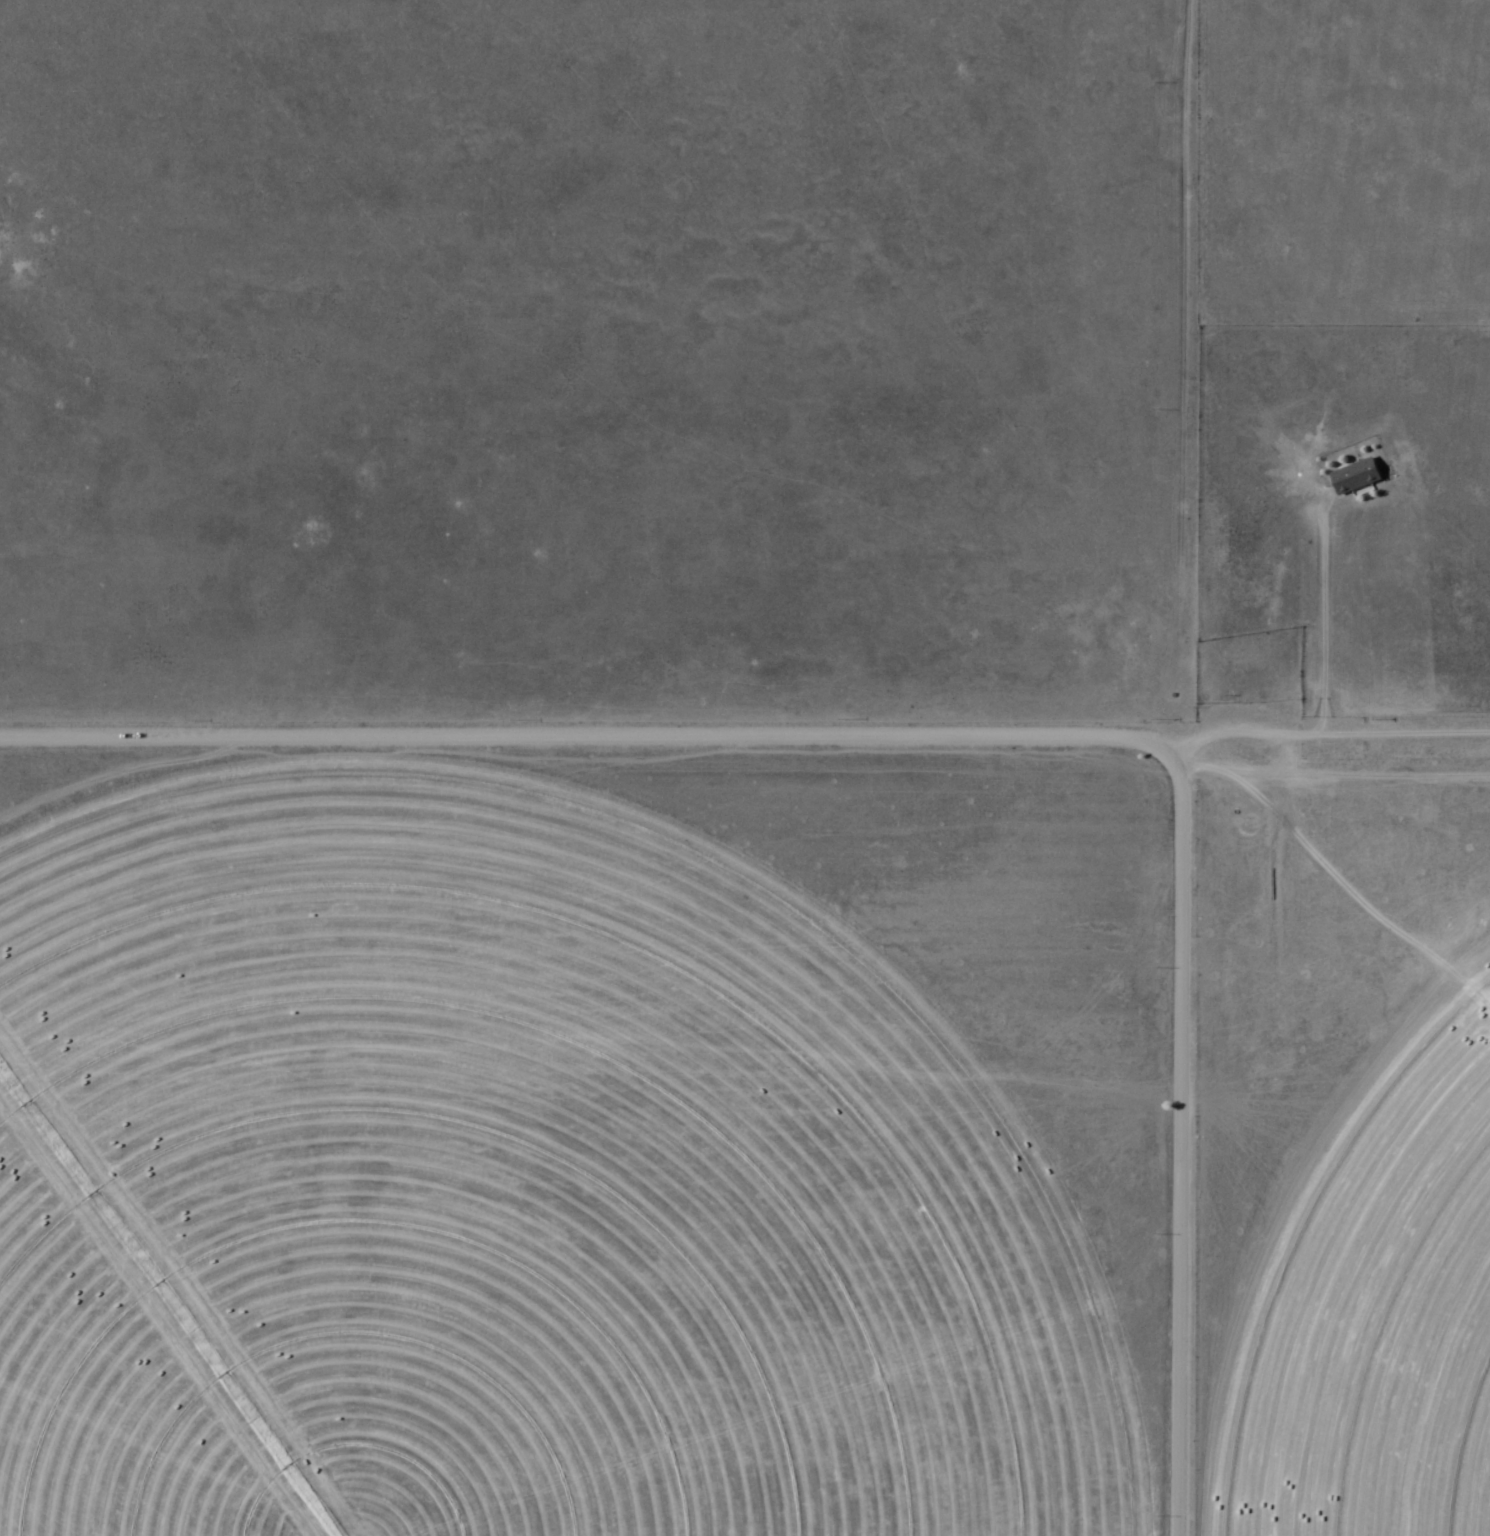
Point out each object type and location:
building: (1356, 478)
road: (1328, 710)
road: (583, 721)
road: (1168, 768)
crop: (518, 1160)

